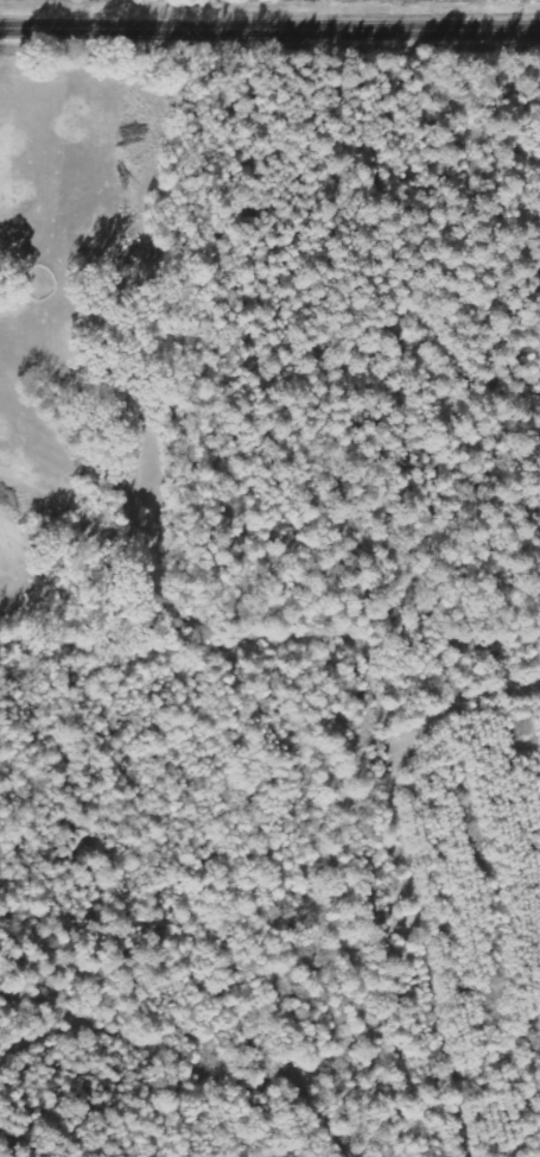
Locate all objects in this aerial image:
road: (269, 27)

